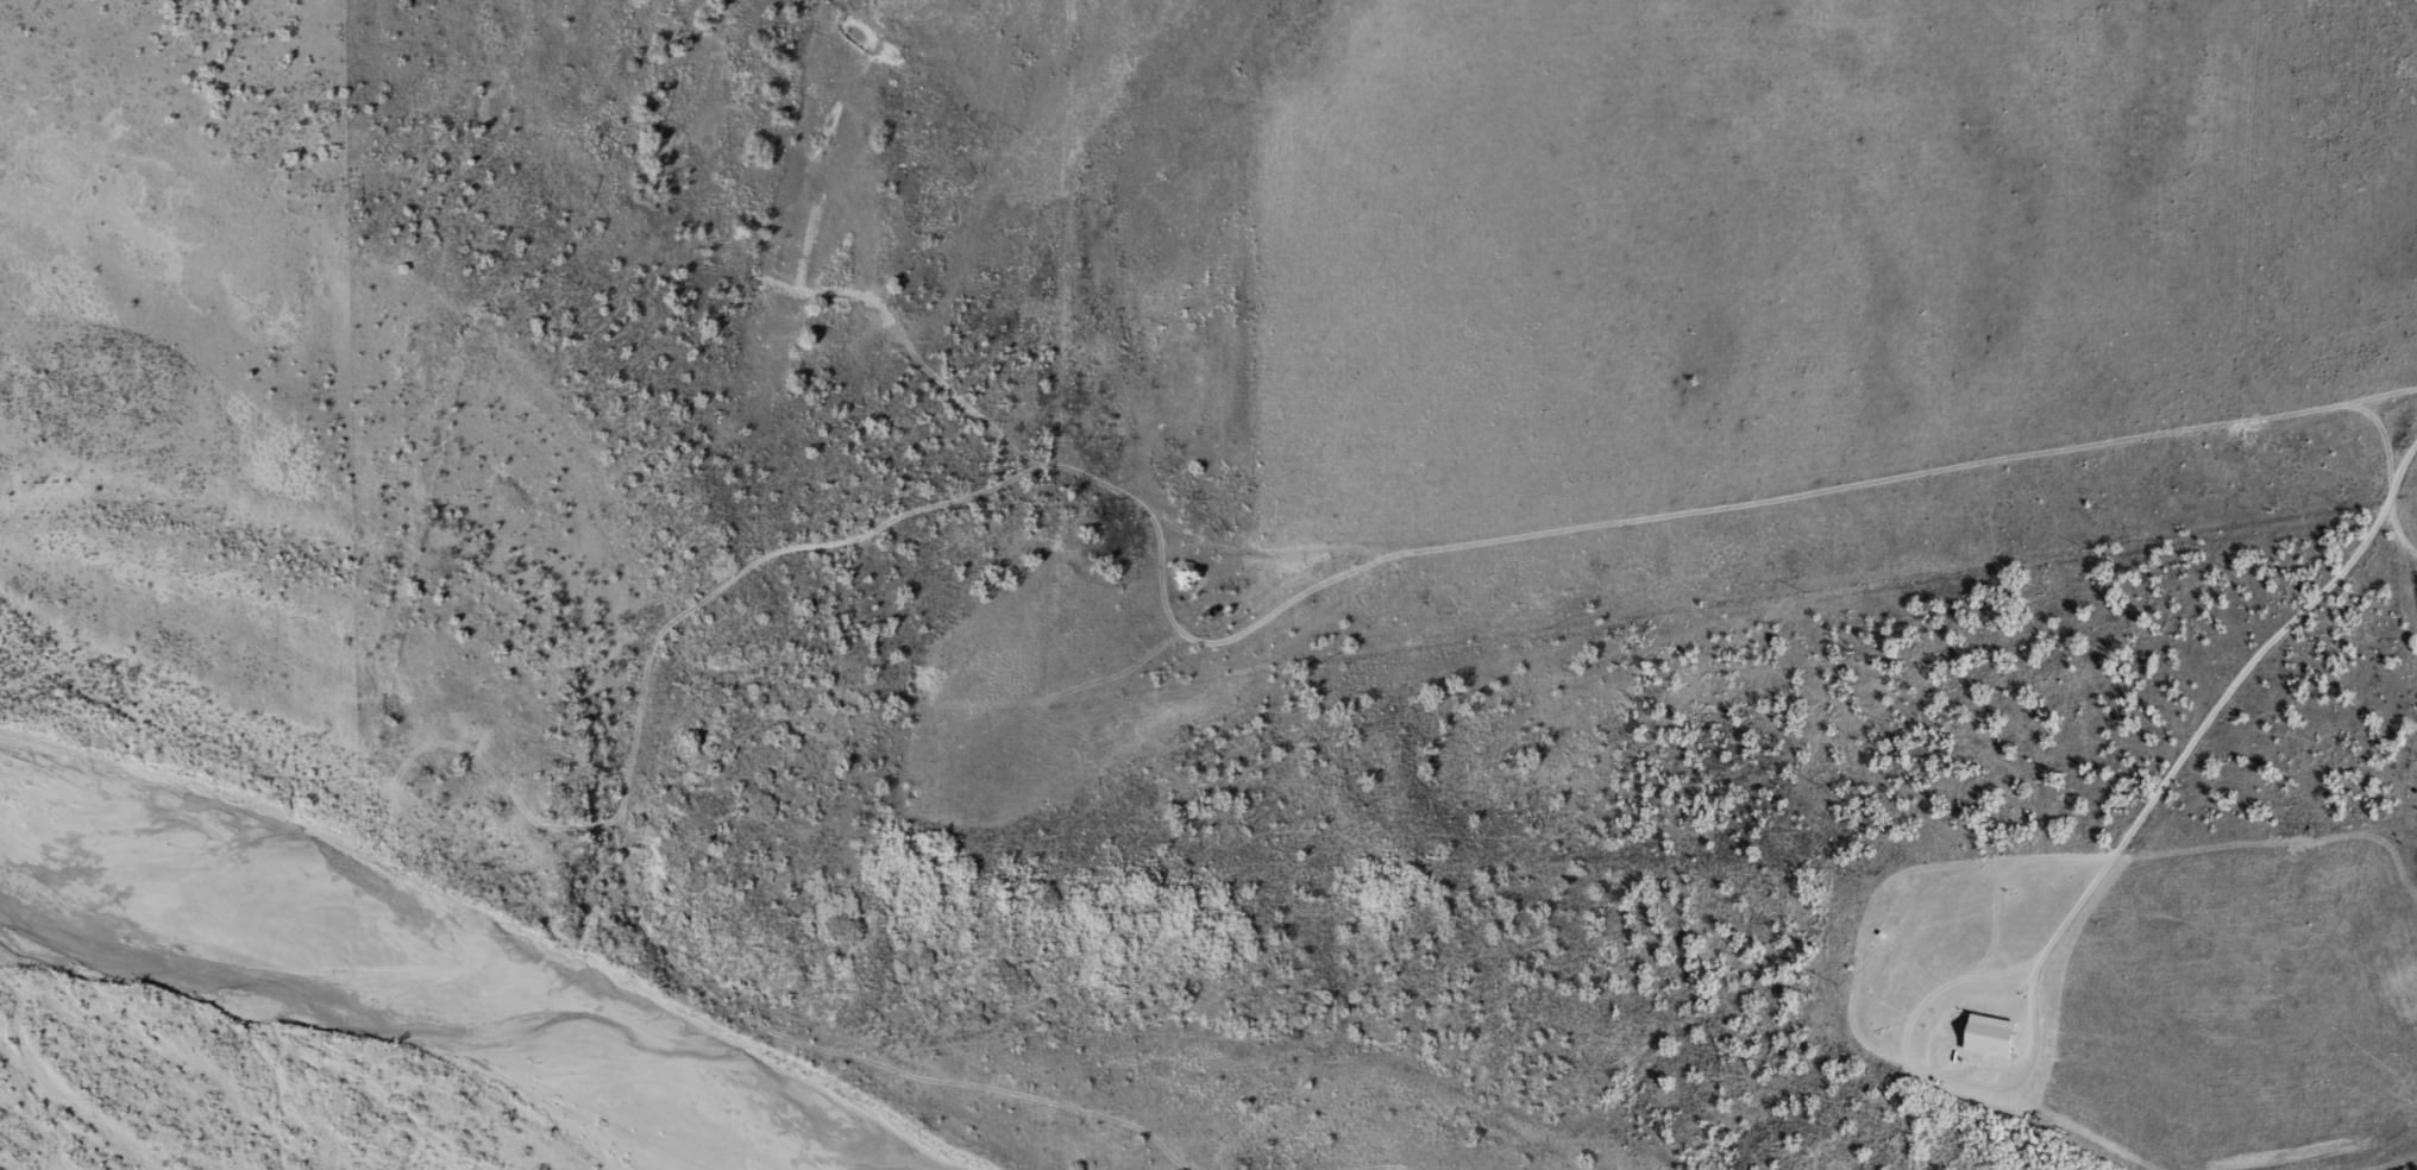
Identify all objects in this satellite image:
road: (2403, 466)
road: (1426, 546)
road: (2227, 698)
river: (452, 962)

